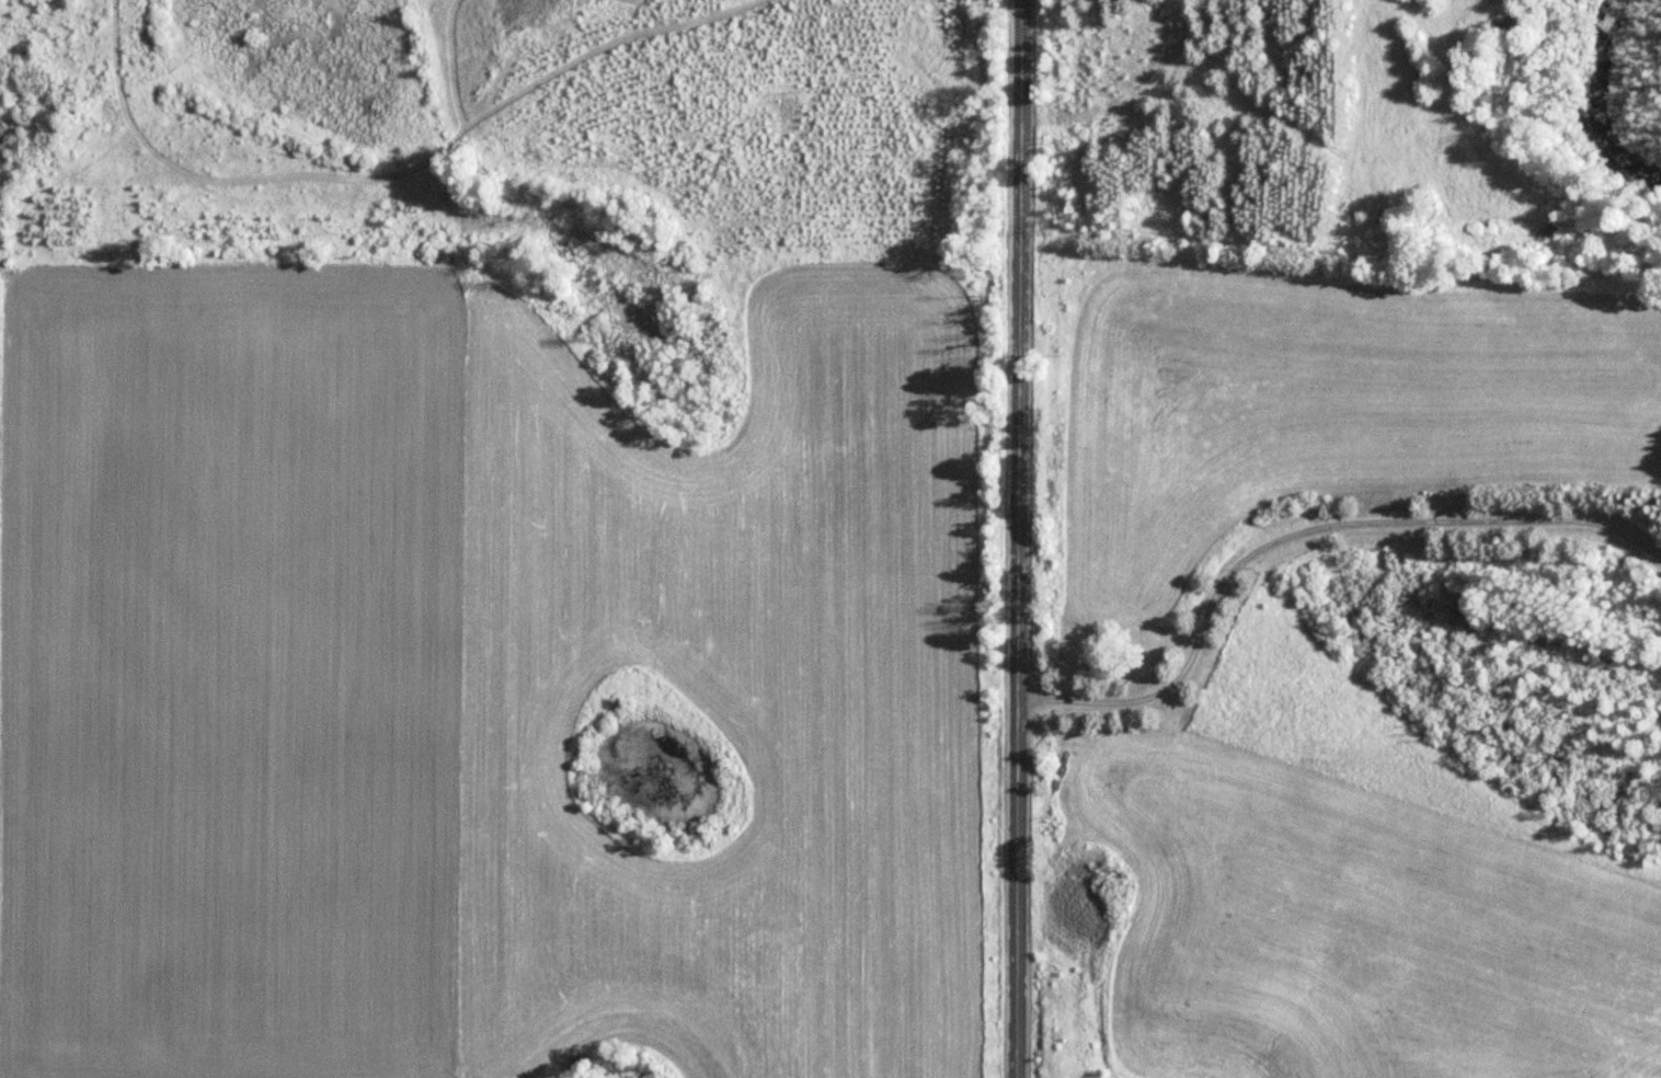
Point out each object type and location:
road: (1303, 531)
road: (1019, 539)

